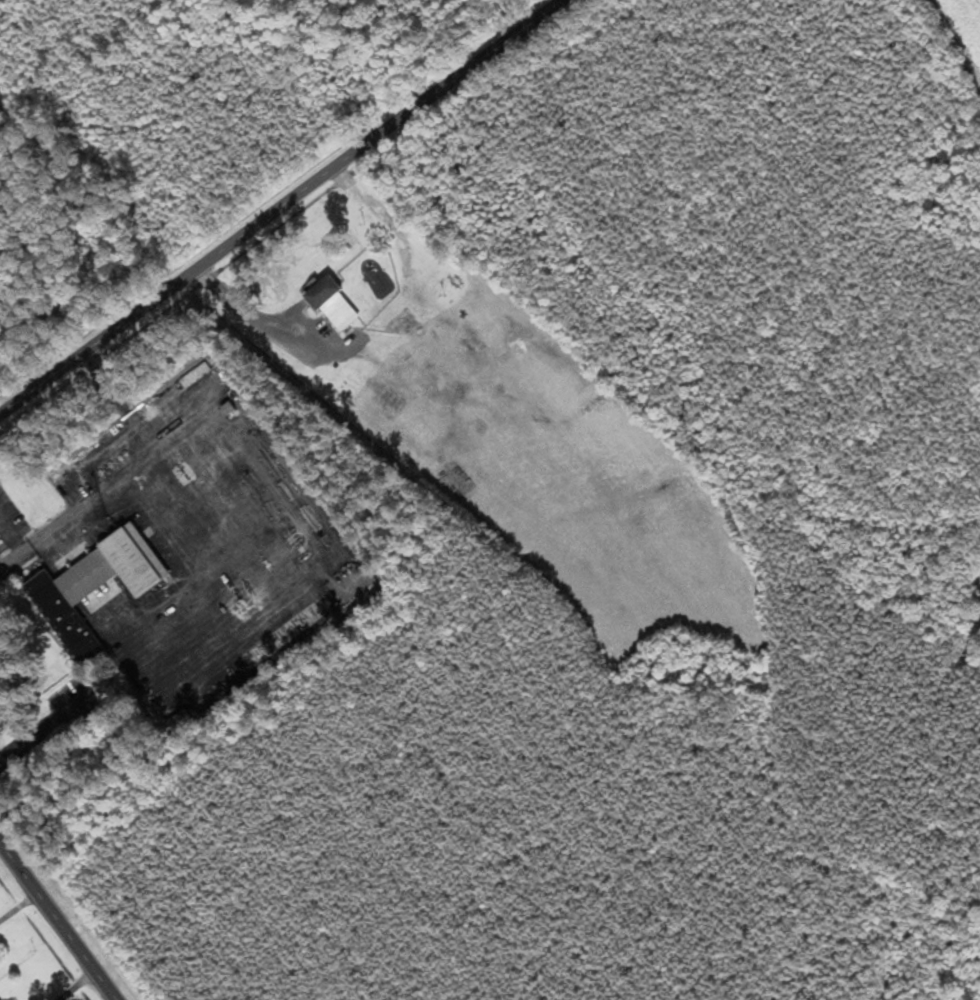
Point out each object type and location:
road: (280, 208)
building: (337, 305)
road: (124, 402)
road: (117, 484)
road: (13, 538)
road: (13, 564)
building: (99, 588)
road: (59, 921)

